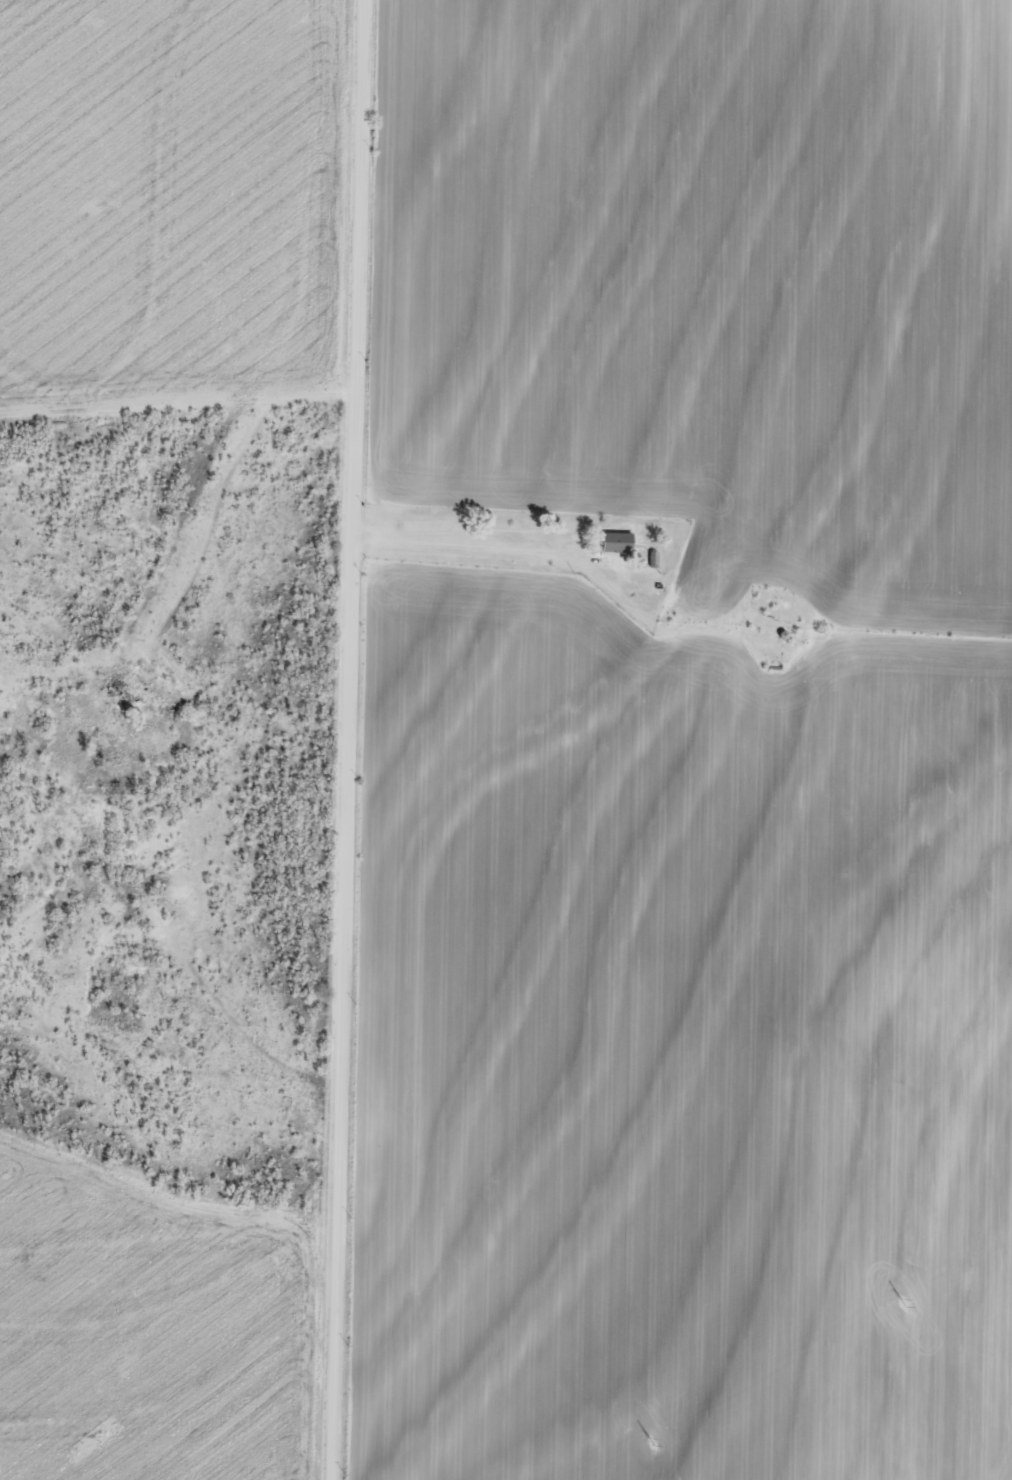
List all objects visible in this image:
building: (613, 540)
road: (677, 609)
road: (348, 739)
road: (172, 928)
power tower: (902, 1303)
power tower: (649, 1443)

